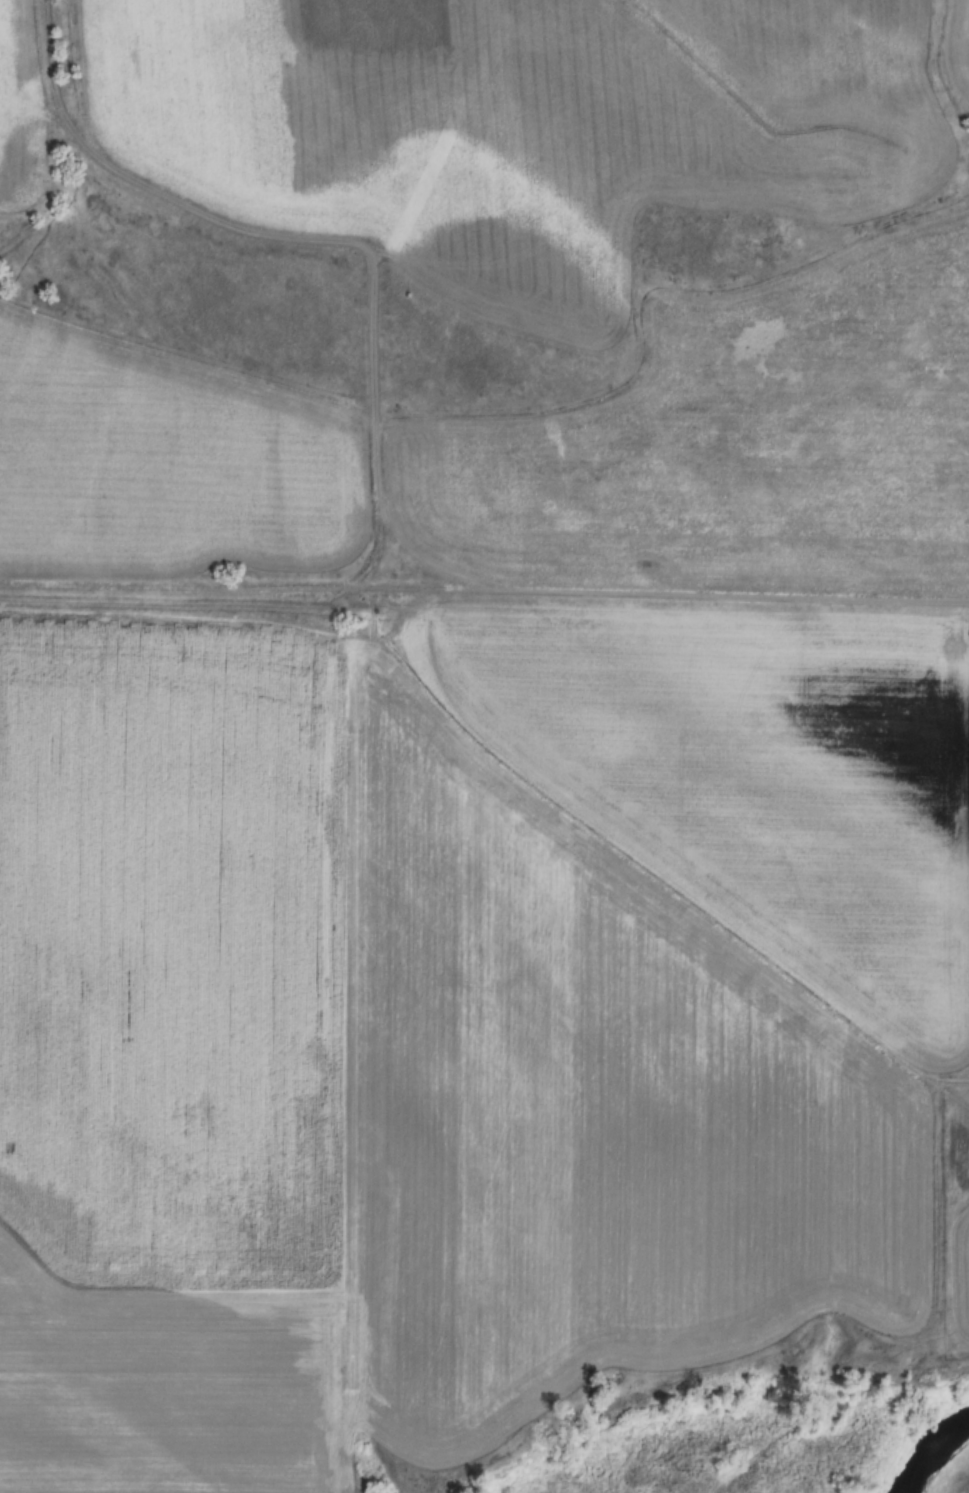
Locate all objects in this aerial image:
river: (939, 1458)

